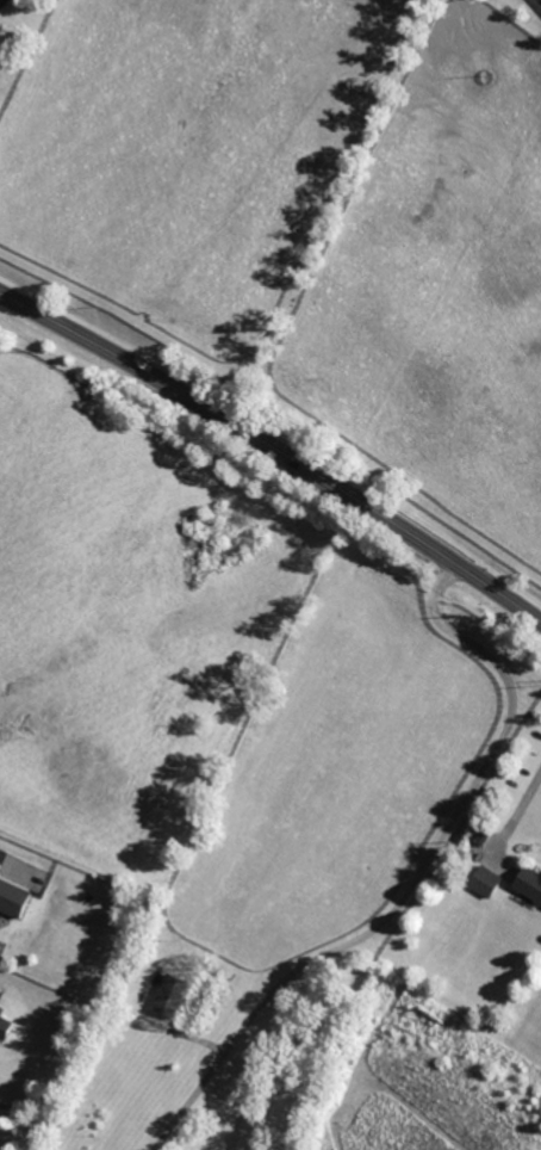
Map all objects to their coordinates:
road: (275, 447)
road: (11, 860)
road: (413, 879)
building: (484, 879)
building: (528, 883)
building: (13, 898)
building: (168, 995)
building: (1, 1020)

